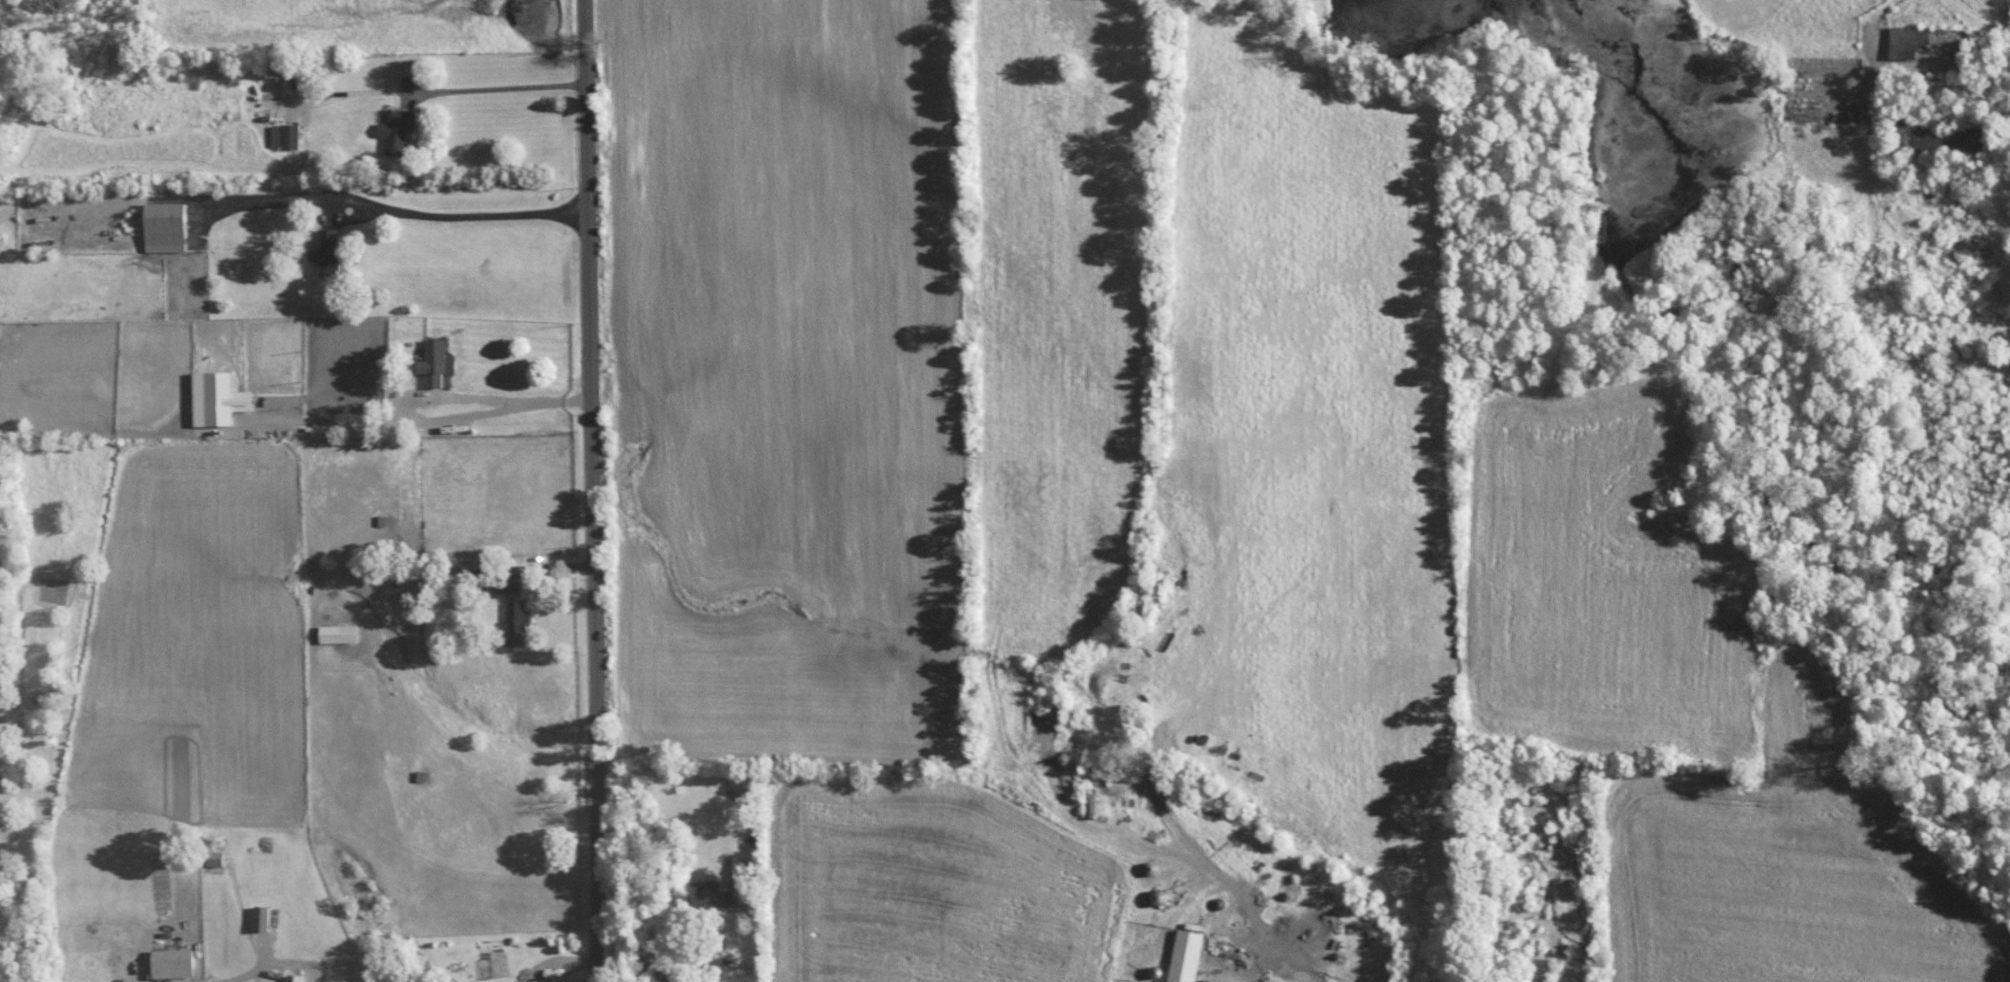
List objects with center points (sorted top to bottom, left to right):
road: (1871, 23)
building: (1907, 39)
road: (499, 87)
building: (398, 129)
building: (286, 135)
building: (1965, 139)
road: (399, 207)
building: (166, 226)
building: (328, 251)
building: (434, 361)
building: (218, 398)
road: (500, 398)
road: (441, 418)
road: (591, 491)
road: (539, 566)
building: (517, 623)
building: (339, 632)
building: (1, 738)
building: (216, 857)
building: (746, 868)
building: (712, 894)
building: (262, 917)
road: (759, 947)
building: (1187, 955)
road: (291, 962)
building: (174, 965)
building: (296, 977)
building: (534, 980)
building: (1279, 981)

